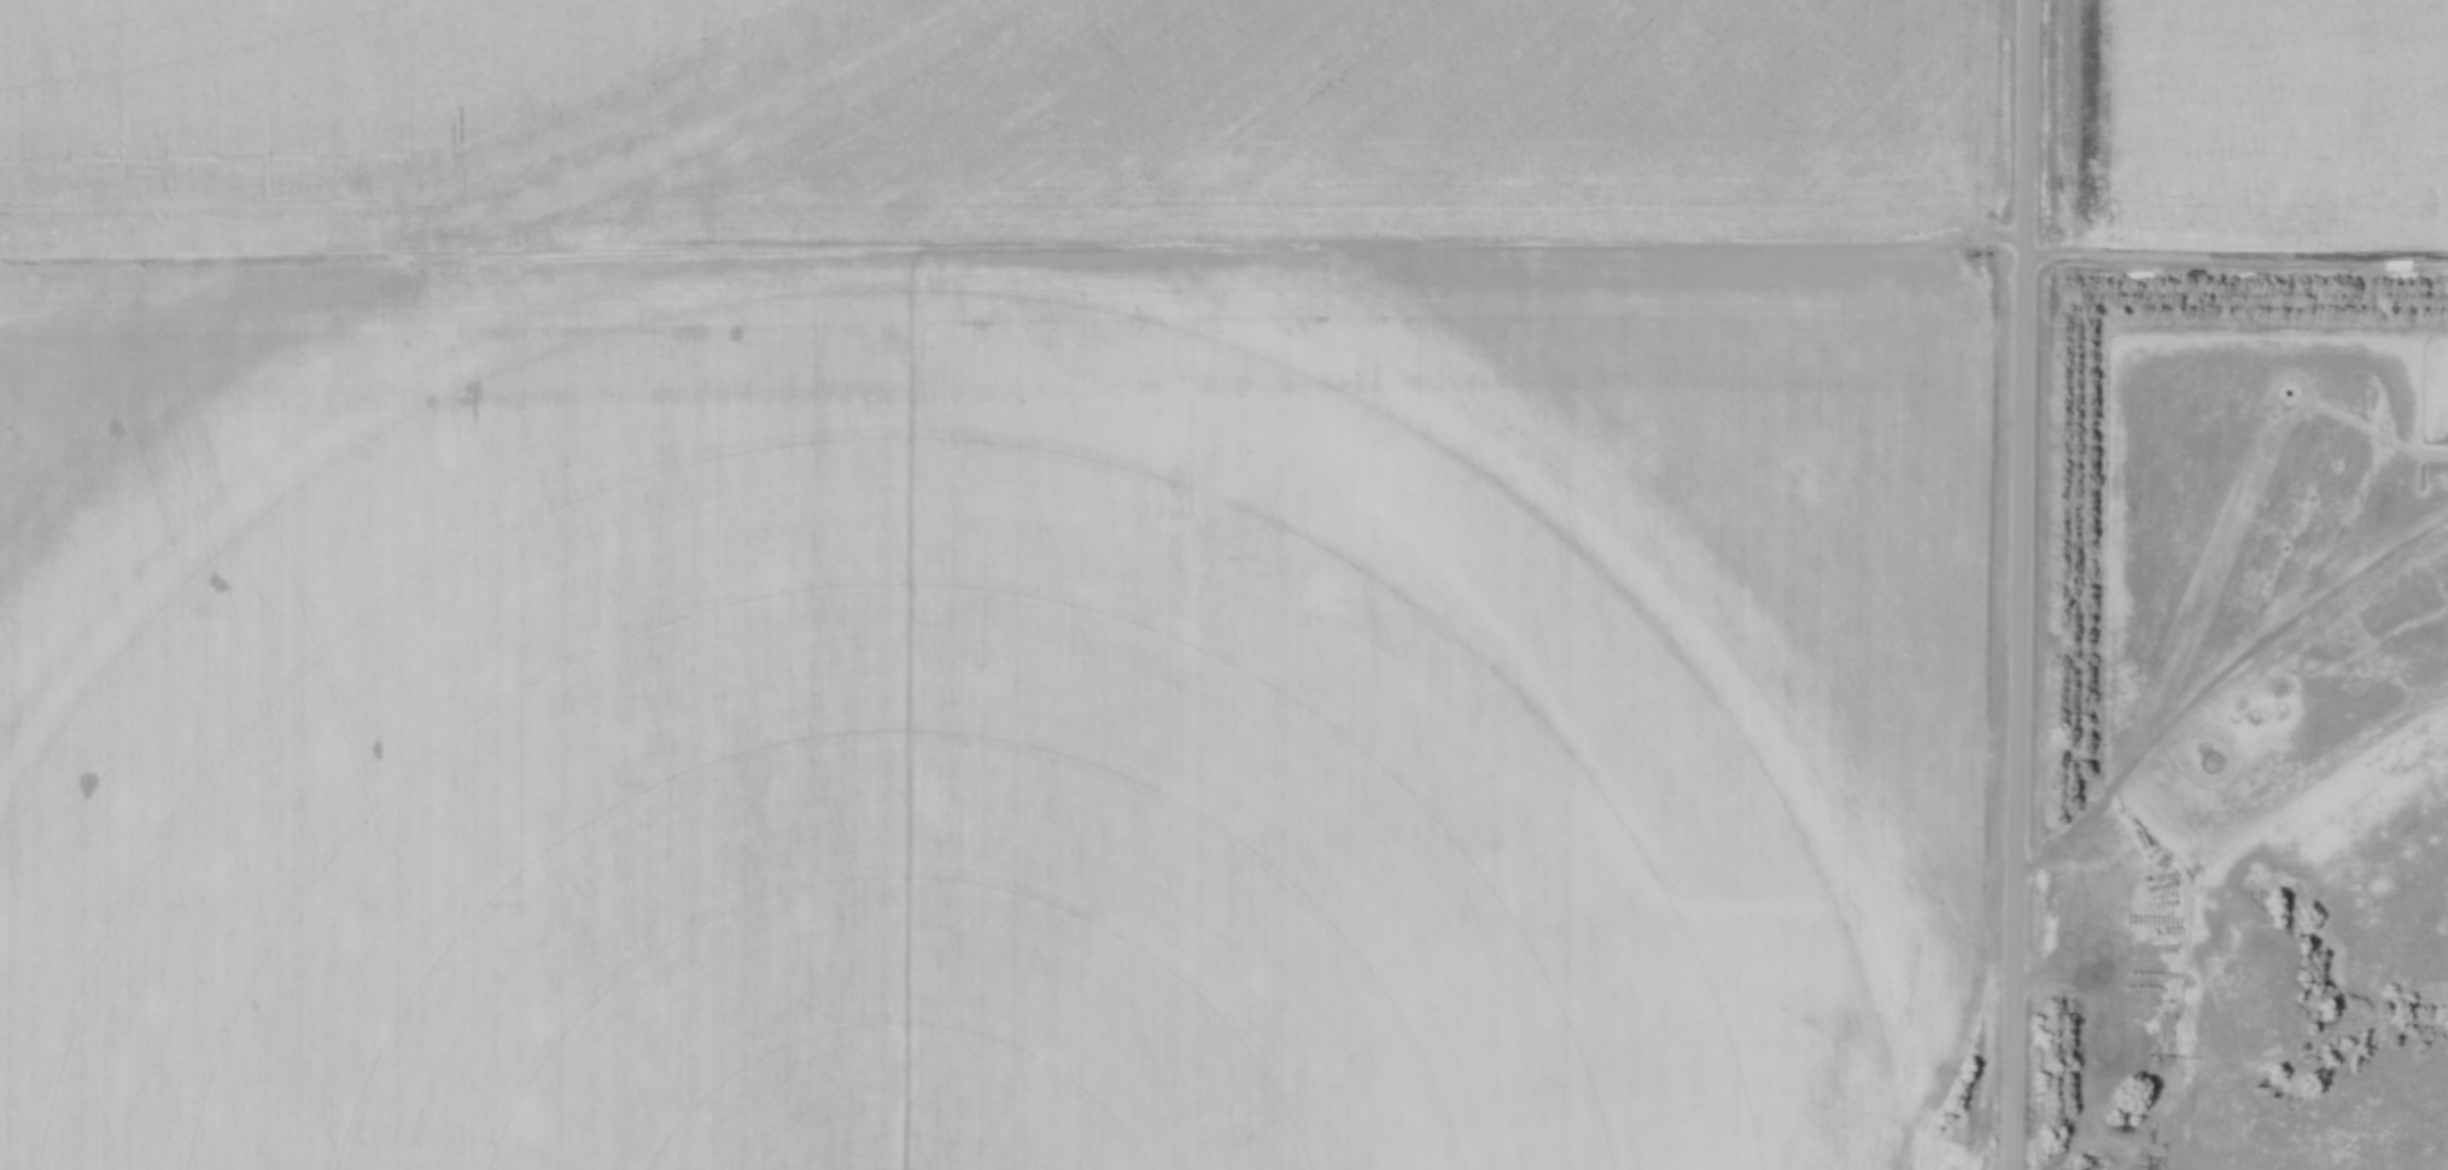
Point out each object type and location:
road: (2236, 255)
road: (2020, 585)

